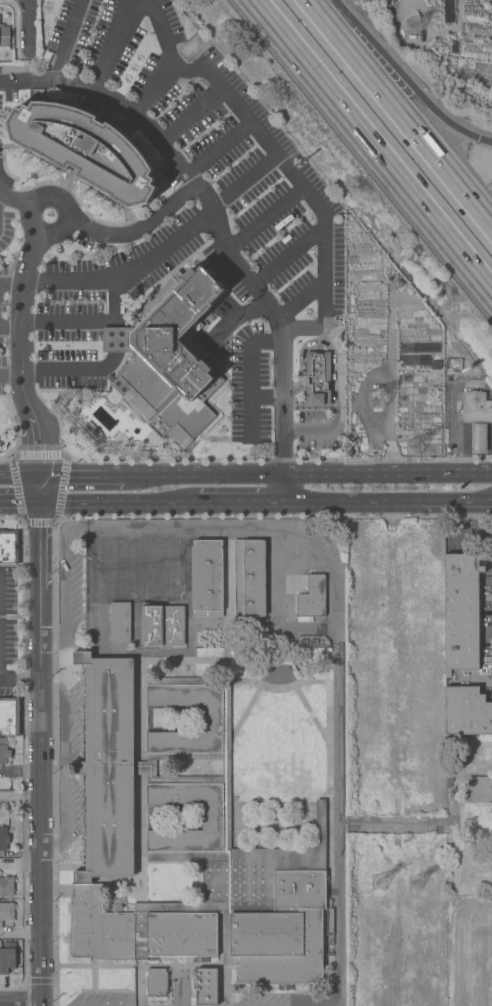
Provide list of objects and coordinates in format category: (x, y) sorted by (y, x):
road: (421, 9)
road: (323, 22)
road: (33, 25)
power tower: (417, 29)
building: (5, 38)
road: (61, 41)
road: (112, 45)
road: (172, 60)
road: (378, 68)
road: (116, 100)
road: (449, 123)
road: (416, 136)
traffic signals: (477, 138)
road: (373, 145)
building: (86, 149)
road: (302, 190)
road: (15, 201)
road: (66, 209)
road: (30, 221)
road: (135, 231)
parking lot: (4, 266)
road: (127, 270)
road: (11, 284)
road: (236, 314)
road: (275, 320)
road: (90, 321)
road: (113, 325)
road: (10, 326)
building: (169, 353)
road: (21, 354)
road: (71, 369)
road: (248, 371)
road: (10, 377)
building: (317, 379)
road: (3, 397)
road: (337, 404)
power tower: (383, 407)
building: (476, 408)
road: (455, 427)
road: (17, 433)
building: (478, 438)
power tower: (420, 449)
road: (387, 475)
road: (19, 476)
traffic signals: (39, 476)
road: (81, 476)
road: (203, 476)
road: (283, 488)
road: (39, 489)
road: (387, 500)
road: (119, 501)
road: (241, 501)
road: (19, 502)
traffic signals: (39, 502)
road: (462, 528)
building: (8, 548)
road: (338, 574)
building: (206, 578)
building: (250, 578)
building: (312, 599)
building: (462, 610)
building: (120, 622)
building: (151, 625)
building: (174, 626)
road: (20, 678)
building: (467, 711)
building: (9, 717)
road: (41, 749)
building: (4, 751)
building: (479, 789)
road: (21, 798)
building: (3, 838)
building: (187, 842)
power tower: (420, 884)
building: (6, 886)
power tower: (382, 886)
building: (6, 912)
road: (22, 932)
park: (469, 949)
building: (7, 957)
building: (156, 982)
building: (206, 987)
road: (22, 998)
road: (44, 1002)

